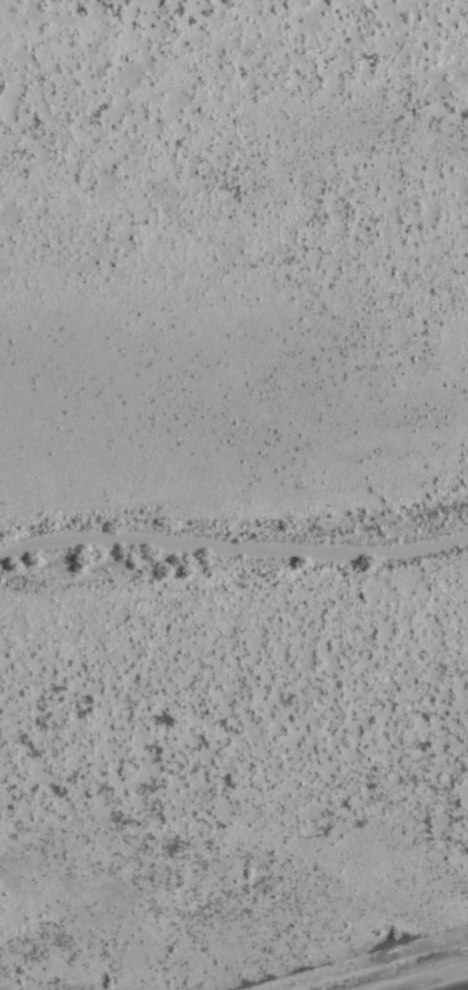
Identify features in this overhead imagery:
river: (235, 551)
railway: (434, 980)
railway: (462, 988)

